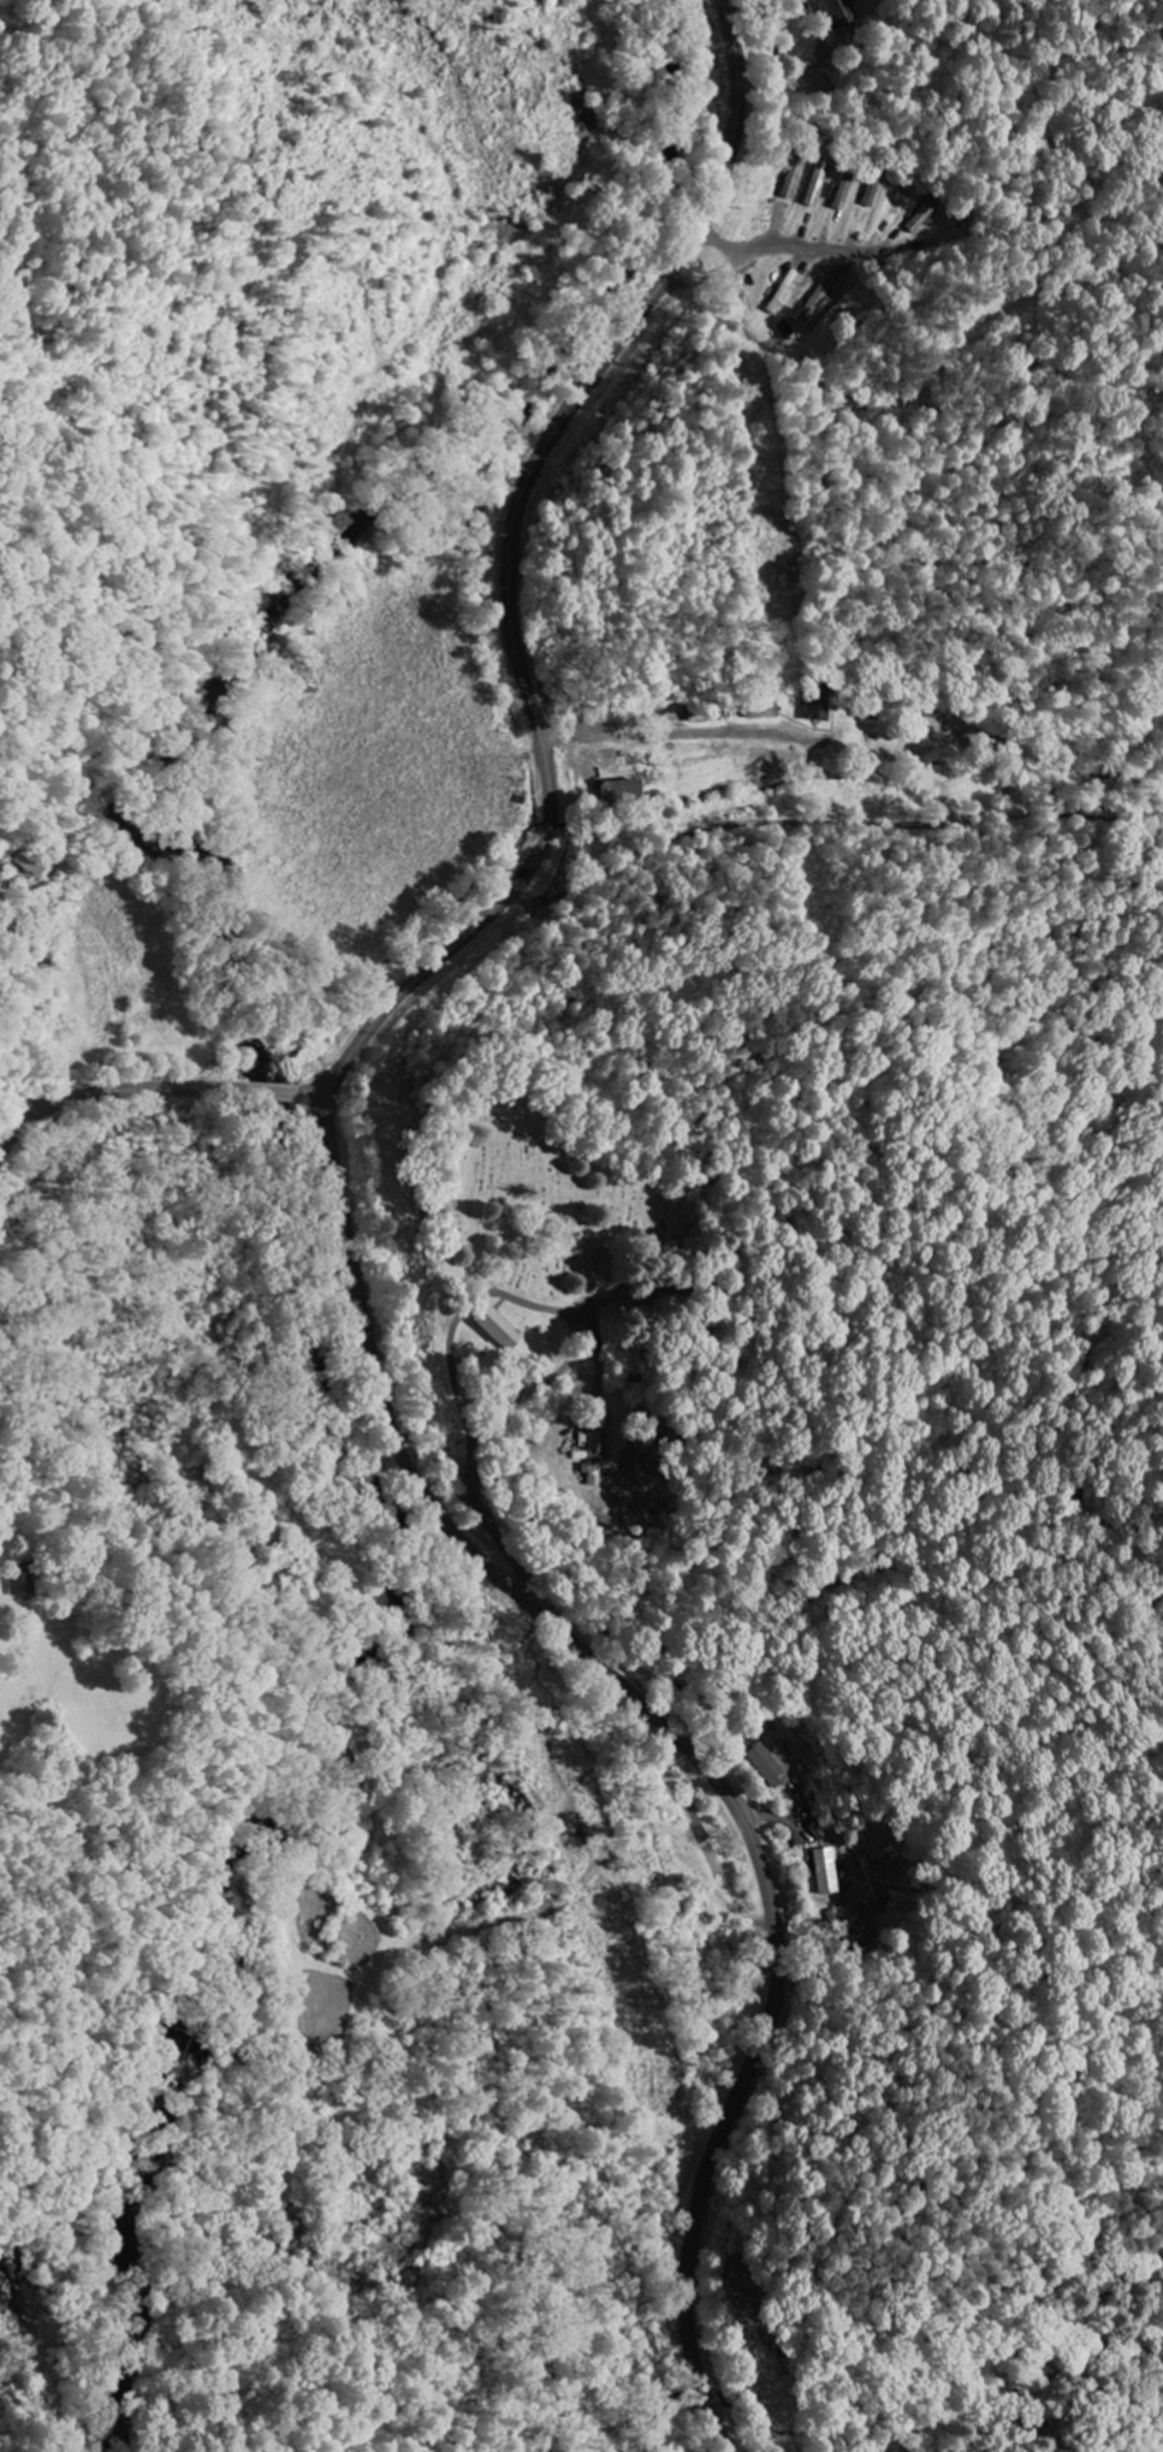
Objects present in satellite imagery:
building: (839, 12)
building: (824, 84)
building: (794, 174)
building: (818, 182)
building: (873, 191)
building: (926, 215)
road: (775, 244)
building: (783, 291)
building: (814, 302)
road: (509, 563)
building: (821, 706)
building: (623, 792)
building: (38, 862)
road: (173, 1014)
road: (147, 1093)
building: (498, 1328)
road: (564, 1362)
road: (449, 1365)
road: (481, 1514)
building: (17, 1580)
road: (678, 1736)
building: (769, 1765)
building: (819, 1830)
building: (825, 1870)

